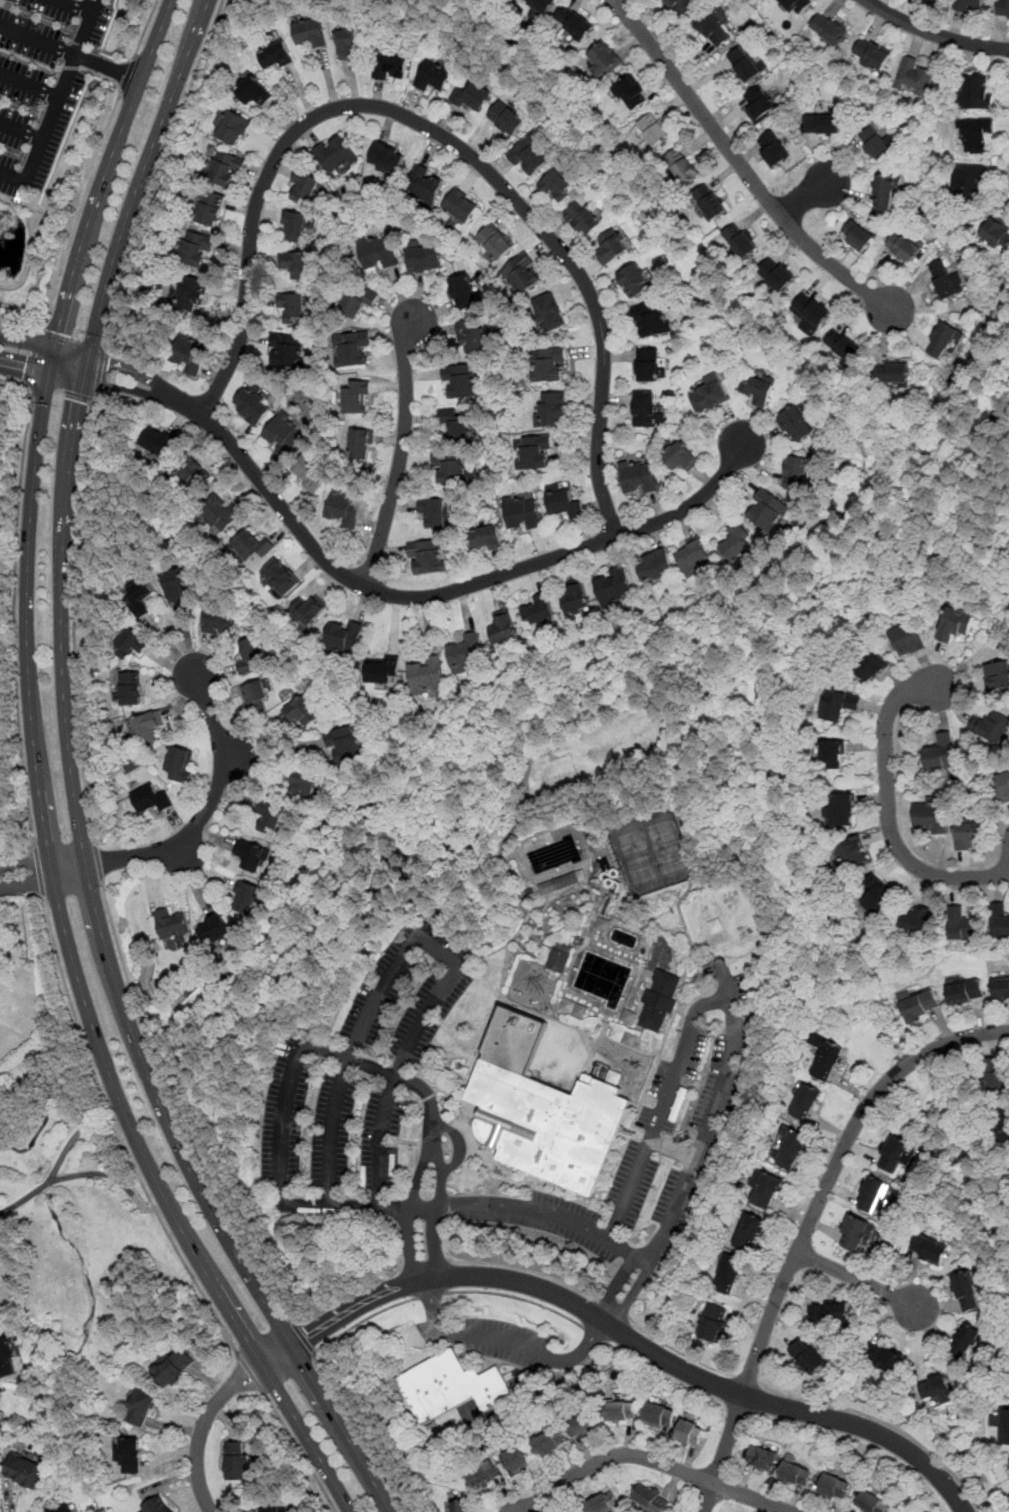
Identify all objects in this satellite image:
building: (971, 3)
building: (540, 5)
building: (682, 6)
building: (796, 6)
road: (72, 7)
building: (1002, 8)
building: (575, 24)
road: (144, 29)
building: (713, 30)
building: (829, 30)
building: (310, 32)
road: (935, 34)
building: (351, 41)
road: (38, 42)
building: (276, 56)
building: (870, 56)
building: (605, 59)
building: (391, 63)
building: (744, 65)
road: (107, 68)
road: (125, 75)
building: (434, 76)
building: (915, 77)
parking lot: (42, 82)
road: (29, 86)
building: (253, 91)
building: (975, 91)
building: (631, 93)
building: (470, 96)
road: (56, 103)
building: (759, 105)
building: (507, 118)
building: (822, 124)
building: (232, 128)
building: (653, 130)
road: (20, 131)
building: (974, 134)
road: (440, 135)
building: (875, 143)
building: (774, 149)
building: (532, 153)
building: (336, 154)
building: (387, 157)
road: (741, 164)
building: (682, 166)
building: (223, 169)
road: (155, 171)
building: (968, 180)
building: (426, 184)
road: (84, 186)
building: (305, 188)
building: (557, 188)
building: (884, 191)
road: (810, 196)
building: (710, 202)
building: (462, 207)
building: (208, 209)
building: (582, 218)
building: (295, 226)
building: (996, 234)
building: (857, 237)
building: (741, 241)
building: (494, 243)
building: (612, 247)
building: (902, 247)
building: (195, 250)
building: (376, 254)
building: (426, 260)
building: (294, 265)
building: (523, 275)
building: (779, 278)
building: (945, 280)
building: (634, 282)
building: (464, 292)
building: (191, 295)
building: (360, 304)
building: (293, 307)
building: (810, 311)
building: (549, 313)
building: (650, 320)
road: (20, 327)
traffic signals: (59, 334)
building: (473, 336)
building: (942, 341)
road: (69, 342)
building: (843, 345)
building: (287, 349)
building: (353, 350)
building: (191, 355)
traffic signals: (26, 358)
road: (31, 359)
road: (41, 361)
traffic signals: (53, 364)
building: (549, 364)
building: (648, 364)
road: (100, 371)
traffic signals: (106, 374)
building: (891, 375)
building: (461, 380)
building: (757, 388)
road: (59, 389)
building: (709, 394)
building: (356, 398)
traffic signals: (79, 401)
building: (253, 405)
building: (551, 409)
building: (647, 410)
building: (795, 422)
building: (455, 424)
building: (285, 434)
building: (157, 440)
building: (360, 444)
road: (401, 451)
building: (535, 452)
building: (682, 459)
building: (450, 467)
building: (192, 472)
building: (795, 472)
building: (310, 473)
building: (639, 478)
building: (564, 505)
building: (344, 508)
building: (767, 511)
building: (434, 513)
building: (221, 515)
building: (522, 516)
building: (485, 539)
building: (734, 542)
building: (252, 543)
building: (426, 556)
building: (692, 557)
building: (653, 564)
building: (282, 578)
road: (629, 583)
building: (175, 584)
building: (611, 587)
building: (141, 596)
road: (399, 596)
building: (575, 597)
road: (14, 601)
building: (307, 611)
building: (539, 611)
road: (73, 618)
building: (218, 622)
building: (956, 625)
building: (503, 628)
building: (343, 635)
building: (908, 640)
building: (132, 644)
building: (465, 651)
building: (251, 655)
road: (529, 662)
building: (384, 668)
building: (875, 668)
building: (426, 675)
building: (997, 675)
road: (62, 684)
building: (131, 689)
road: (28, 694)
building: (257, 696)
building: (841, 706)
building: (300, 712)
building: (145, 726)
building: (991, 727)
building: (344, 745)
building: (941, 753)
road: (278, 754)
building: (833, 755)
building: (179, 764)
building: (302, 785)
building: (1003, 785)
building: (151, 798)
building: (843, 809)
road: (204, 812)
road: (888, 812)
building: (930, 816)
building: (270, 818)
building: (968, 835)
park: (652, 849)
building: (851, 852)
building: (251, 856)
road: (97, 861)
road: (26, 863)
road: (38, 872)
building: (559, 883)
road: (28, 885)
road: (379, 890)
building: (244, 896)
building: (874, 896)
building: (999, 919)
building: (913, 920)
building: (170, 925)
building: (716, 925)
building: (960, 925)
building: (0, 928)
building: (214, 930)
road: (425, 940)
building: (561, 957)
building: (610, 965)
building: (666, 982)
building: (1001, 988)
building: (966, 992)
building: (920, 1005)
building: (656, 1009)
road: (164, 1030)
building: (827, 1057)
road: (395, 1074)
building: (996, 1075)
building: (807, 1101)
road: (662, 1109)
road: (177, 1110)
building: (550, 1111)
road: (709, 1114)
road: (285, 1122)
building: (999, 1126)
road: (119, 1136)
road: (458, 1142)
road: (672, 1149)
building: (792, 1149)
building: (894, 1154)
road: (832, 1171)
road: (52, 1175)
road: (114, 1177)
road: (419, 1177)
building: (768, 1191)
building: (871, 1195)
road: (345, 1204)
road: (424, 1205)
road: (526, 1208)
park: (71, 1212)
road: (435, 1216)
building: (749, 1231)
building: (855, 1235)
road: (408, 1246)
road: (625, 1249)
building: (929, 1249)
road: (425, 1263)
road: (523, 1268)
building: (730, 1273)
road: (858, 1278)
road: (520, 1282)
road: (616, 1285)
building: (966, 1290)
road: (347, 1294)
road: (430, 1295)
road: (632, 1296)
road: (517, 1297)
road: (610, 1307)
road: (359, 1308)
building: (830, 1311)
building: (714, 1324)
road: (304, 1338)
building: (965, 1339)
road: (506, 1340)
road: (678, 1351)
road: (277, 1353)
building: (807, 1356)
building: (7, 1358)
building: (887, 1359)
building: (171, 1367)
road: (251, 1373)
road: (747, 1379)
road: (329, 1383)
building: (457, 1387)
building: (934, 1387)
building: (1, 1394)
building: (141, 1406)
road: (793, 1408)
building: (620, 1411)
building: (659, 1415)
road: (886, 1423)
building: (1001, 1424)
building: (582, 1425)
road: (202, 1426)
road: (341, 1427)
building: (689, 1433)
road: (306, 1437)
building: (550, 1442)
road: (300, 1450)
road: (722, 1453)
building: (131, 1456)
building: (762, 1458)
building: (239, 1460)
road: (654, 1460)
building: (516, 1462)
building: (23, 1471)
building: (796, 1474)
building: (484, 1477)
building: (834, 1487)
building: (651, 1498)
building: (603, 1502)
building: (873, 1502)
building: (157, 1506)
building: (461, 1506)
building: (59, 1507)
building: (278, 1507)

